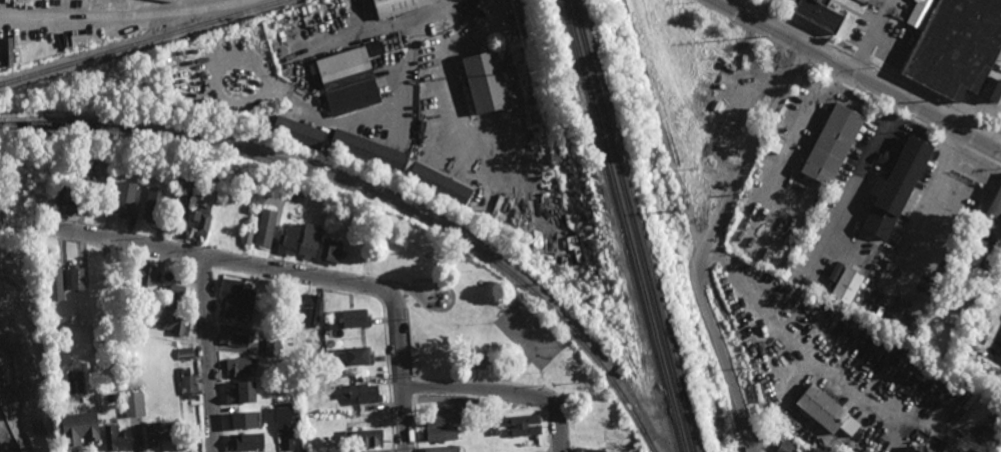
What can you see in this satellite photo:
building: (399, 6)
building: (819, 15)
road: (132, 19)
road: (383, 29)
railway: (142, 43)
building: (952, 43)
building: (375, 47)
building: (527, 48)
road: (812, 52)
road: (800, 62)
road: (871, 65)
power tower: (540, 71)
road: (859, 73)
building: (348, 78)
building: (486, 79)
building: (991, 87)
park: (704, 94)
road: (872, 100)
road: (972, 107)
road: (660, 120)
building: (297, 131)
building: (729, 139)
road: (952, 140)
road: (999, 142)
building: (831, 143)
building: (368, 150)
building: (769, 150)
road: (983, 156)
road: (856, 179)
building: (439, 184)
building: (895, 184)
building: (877, 186)
building: (180, 190)
railway: (377, 196)
building: (123, 197)
building: (70, 199)
building: (152, 203)
building: (993, 213)
building: (201, 219)
building: (224, 223)
building: (337, 224)
railway: (623, 226)
railway: (631, 226)
building: (265, 227)
building: (246, 236)
building: (287, 240)
building: (309, 240)
road: (707, 243)
road: (699, 248)
road: (119, 250)
building: (333, 250)
building: (992, 254)
road: (192, 255)
road: (213, 258)
road: (268, 259)
road: (227, 261)
building: (972, 261)
road: (203, 267)
building: (145, 273)
building: (79, 276)
building: (57, 281)
road: (398, 284)
building: (846, 284)
building: (234, 289)
power tower: (578, 292)
building: (175, 296)
road: (371, 296)
road: (453, 302)
building: (235, 309)
building: (308, 310)
building: (274, 318)
building: (355, 318)
park: (475, 321)
building: (139, 322)
building: (175, 323)
building: (361, 331)
building: (233, 335)
building: (329, 338)
building: (272, 347)
building: (185, 353)
road: (207, 354)
building: (357, 356)
road: (201, 357)
road: (215, 359)
building: (478, 360)
building: (240, 366)
building: (314, 374)
road: (400, 381)
building: (189, 383)
road: (513, 385)
road: (411, 389)
road: (502, 391)
building: (241, 392)
building: (363, 394)
road: (545, 400)
building: (469, 403)
building: (133, 404)
building: (821, 408)
building: (486, 413)
building: (441, 417)
building: (243, 420)
road: (414, 425)
building: (522, 425)
building: (284, 426)
building: (80, 428)
road: (549, 431)
building: (161, 432)
building: (440, 433)
building: (112, 437)
building: (324, 437)
building: (363, 438)
building: (244, 442)
building: (610, 443)
building: (936, 445)
building: (526, 446)
building: (786, 446)
road: (404, 449)
building: (442, 449)
building: (588, 449)
road: (375, 451)
road: (394, 451)
building: (636, 451)

